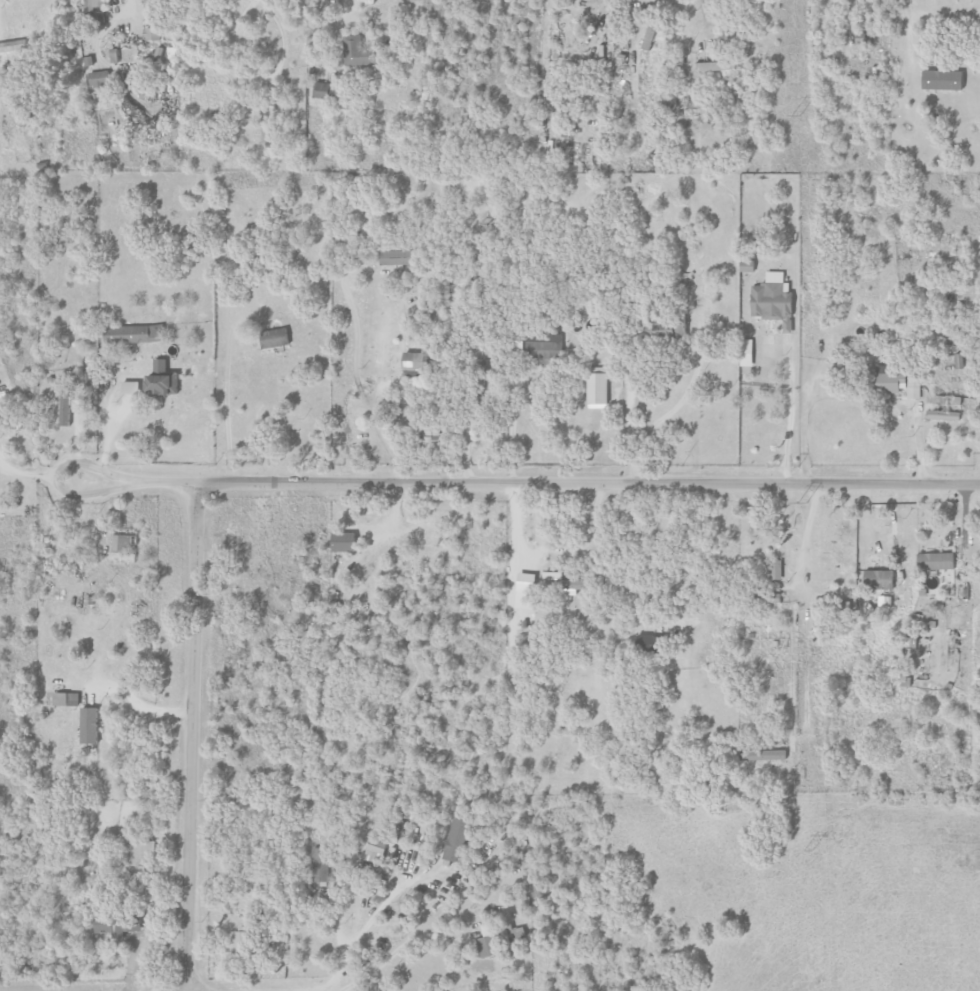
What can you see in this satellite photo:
building: (97, 8)
building: (151, 9)
building: (152, 34)
road: (903, 35)
building: (647, 38)
road: (285, 39)
building: (14, 46)
building: (356, 51)
building: (710, 66)
building: (938, 79)
building: (100, 80)
building: (321, 90)
power tower: (796, 115)
building: (392, 257)
building: (769, 300)
building: (131, 333)
building: (271, 338)
building: (542, 344)
building: (743, 352)
building: (411, 361)
building: (158, 380)
building: (888, 384)
building: (127, 387)
building: (595, 387)
road: (674, 403)
road: (257, 409)
road: (791, 412)
road: (511, 428)
building: (427, 439)
road: (38, 470)
road: (527, 482)
power tower: (802, 502)
road: (803, 541)
building: (339, 542)
building: (120, 548)
building: (933, 561)
building: (774, 569)
building: (876, 579)
building: (563, 582)
building: (772, 597)
building: (647, 639)
road: (791, 675)
building: (62, 698)
building: (91, 725)
road: (189, 736)
building: (761, 755)
building: (457, 839)
building: (377, 850)
power tower: (810, 850)
building: (141, 854)
building: (320, 864)
building: (112, 925)
road: (361, 931)
building: (241, 942)
building: (489, 942)
road: (387, 957)

